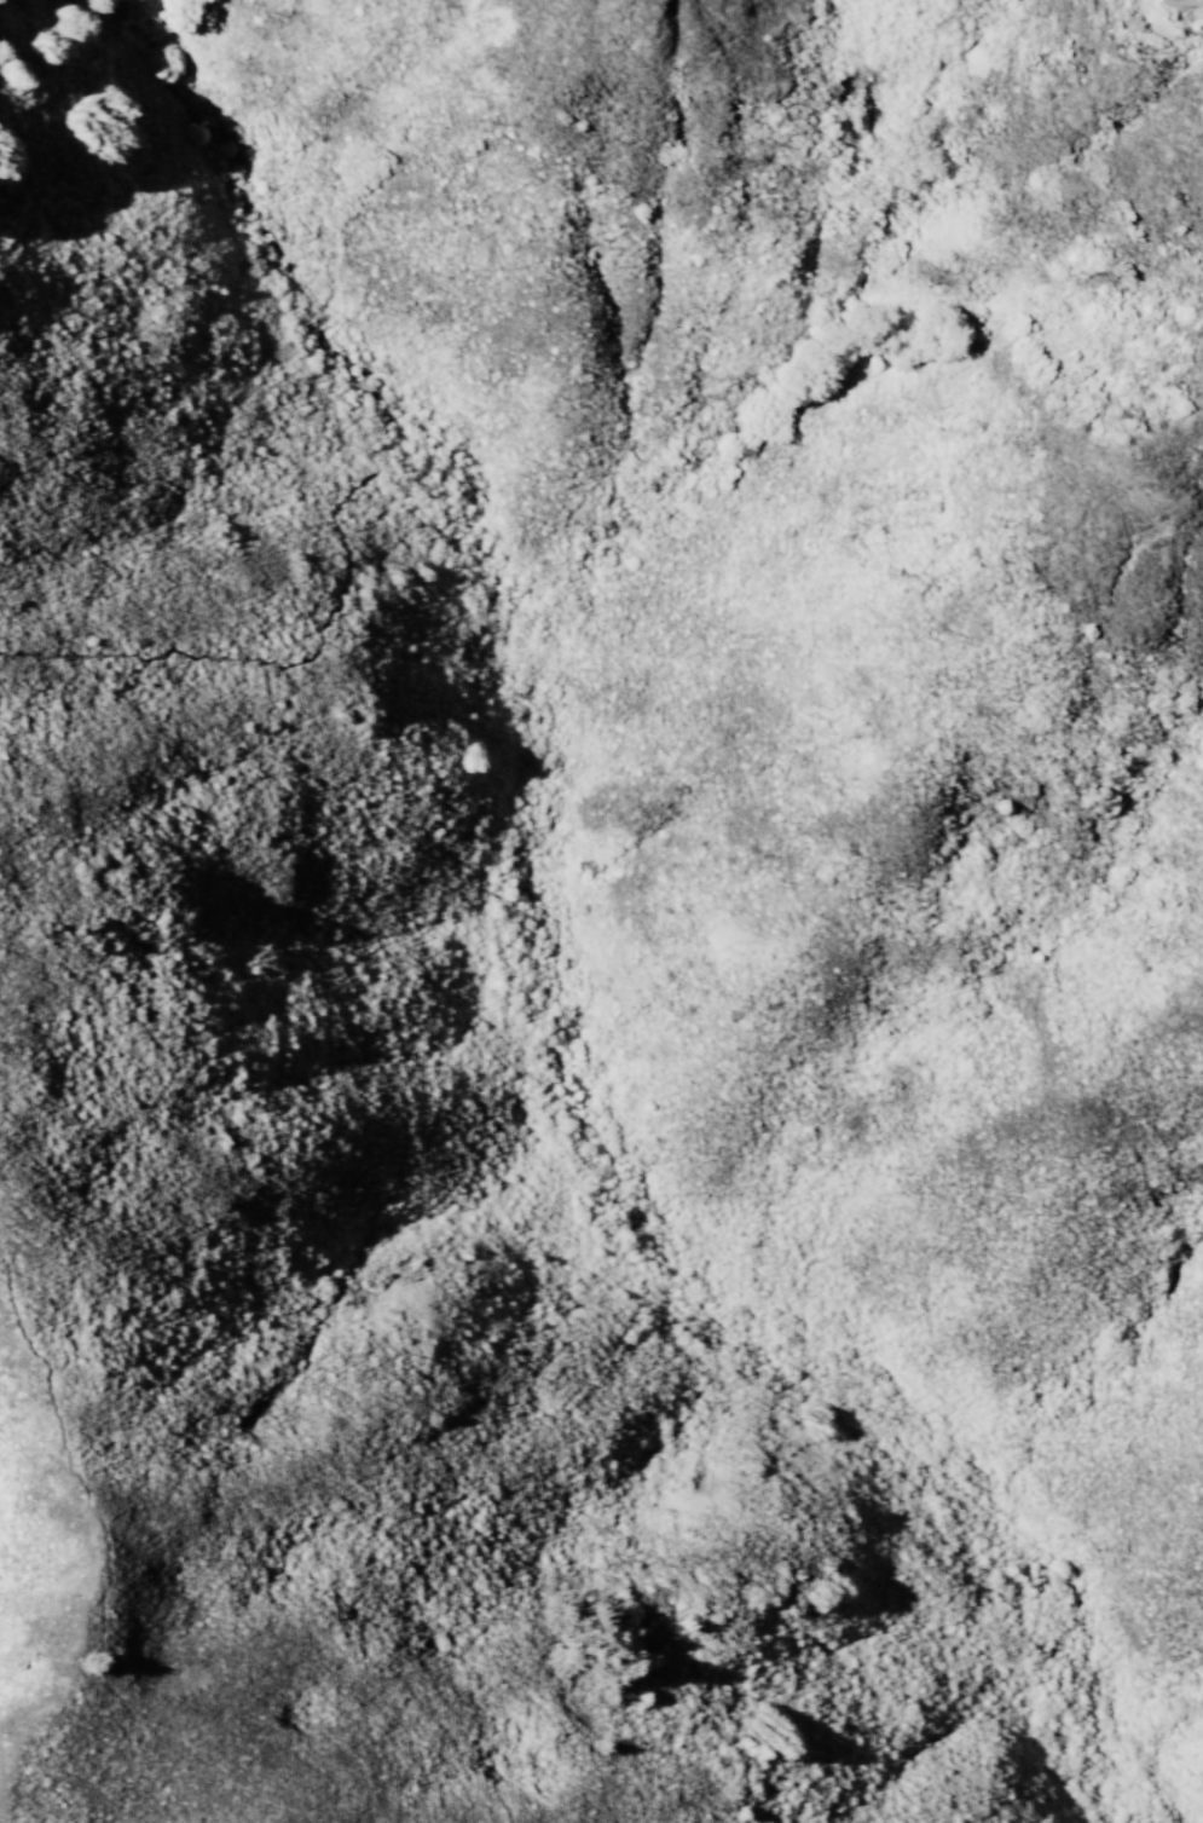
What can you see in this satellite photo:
building: (1184, 2)
road: (291, 667)
road: (115, 1591)

